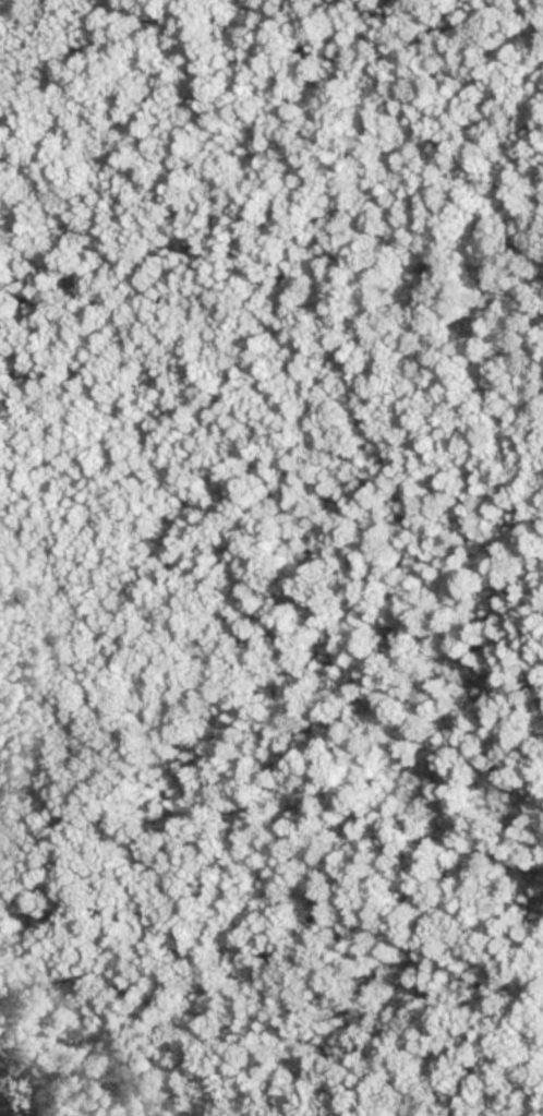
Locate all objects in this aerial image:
park: (277, 543)

